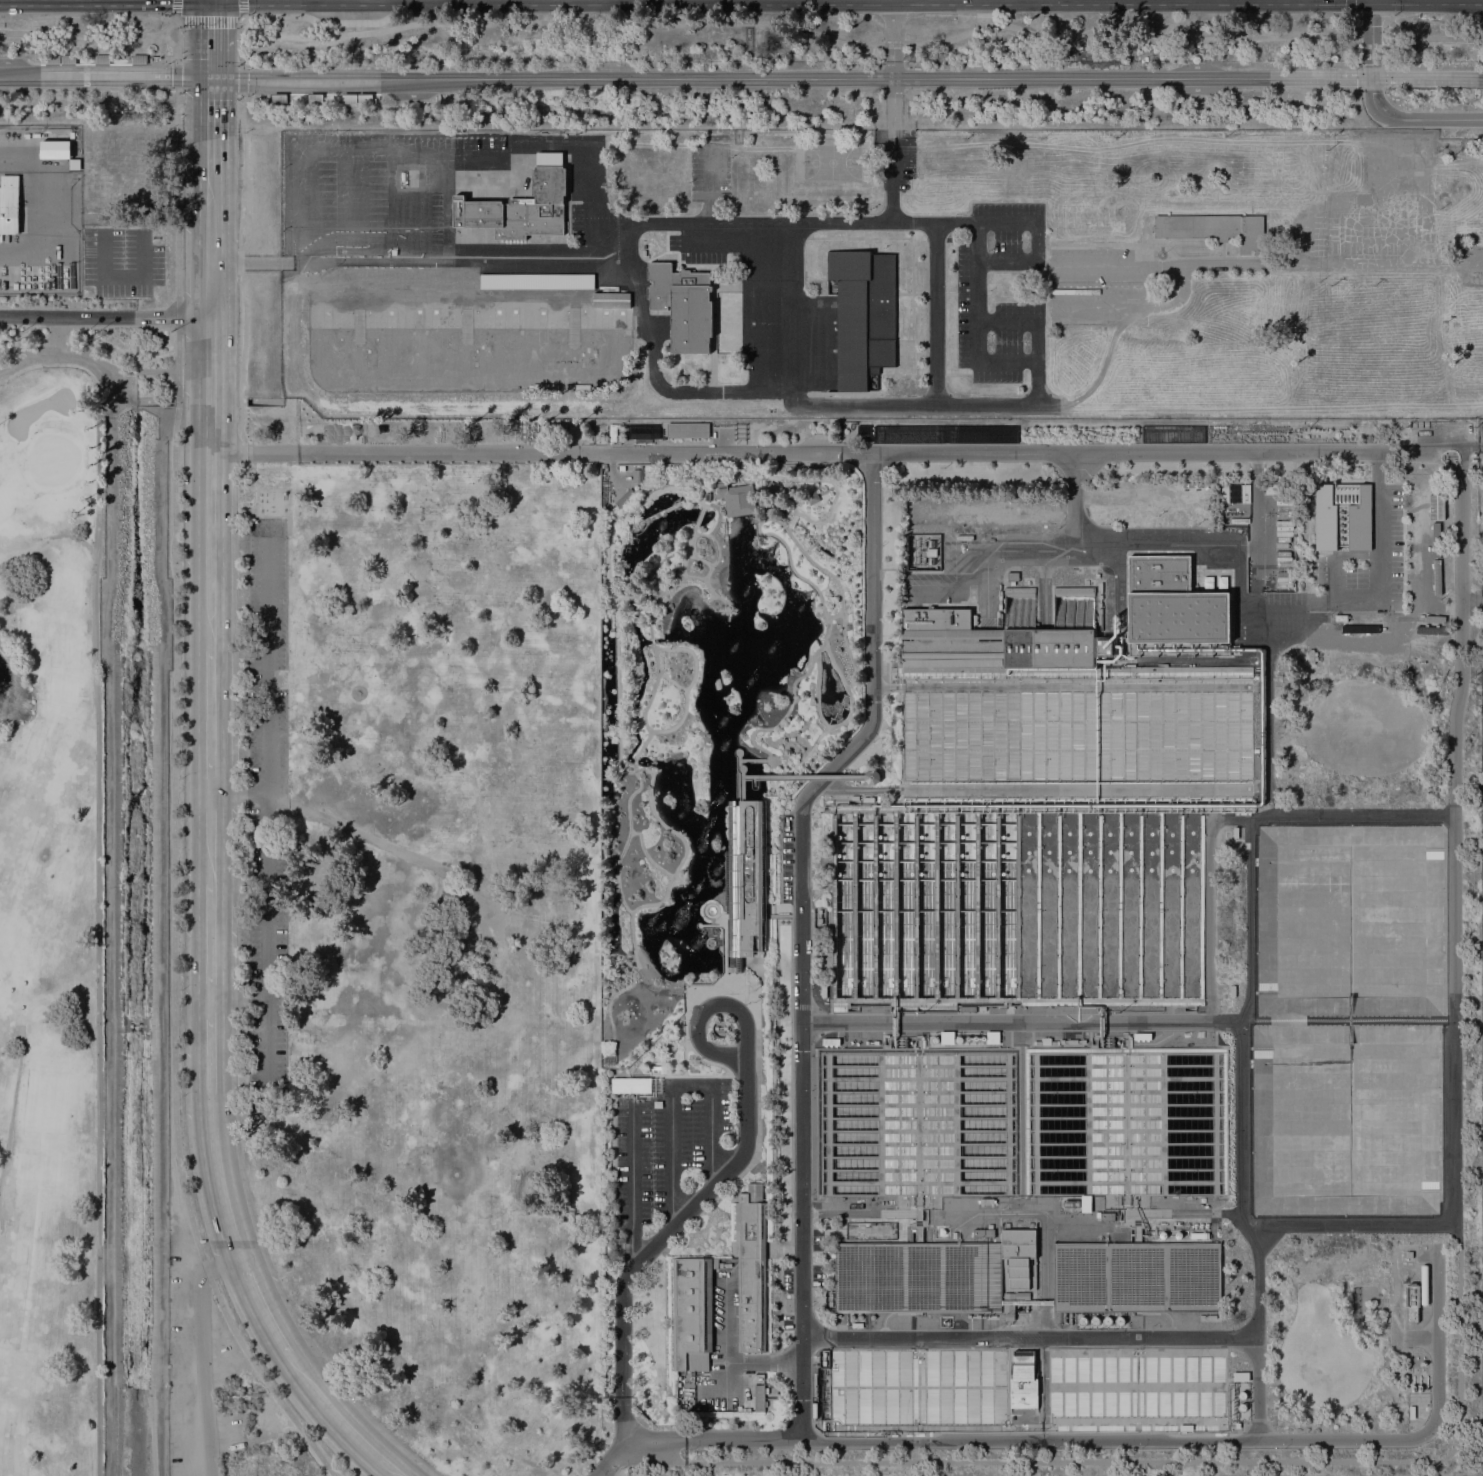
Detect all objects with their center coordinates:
road: (178, 8)
road: (241, 8)
road: (1350, 11)
road: (287, 14)
road: (210, 16)
road: (1366, 20)
road: (800, 29)
road: (892, 29)
road: (1430, 37)
road: (209, 38)
road: (92, 42)
road: (172, 43)
building: (52, 58)
building: (68, 58)
building: (101, 58)
building: (138, 58)
road: (111, 59)
traffic signals: (1371, 62)
road: (176, 72)
traffic signals: (209, 77)
road: (239, 81)
traffic signals: (1372, 92)
road: (307, 94)
building: (278, 97)
building: (315, 97)
building: (348, 97)
building: (364, 97)
road: (893, 99)
road: (1377, 107)
road: (209, 123)
park: (832, 161)
building: (75, 163)
building: (403, 176)
road: (892, 181)
building: (522, 204)
building: (10, 205)
parking lot: (1377, 205)
road: (720, 223)
building: (1216, 228)
road: (244, 260)
building: (537, 280)
building: (830, 286)
building: (610, 299)
building: (684, 304)
building: (864, 314)
road: (104, 315)
building: (327, 316)
building: (390, 316)
building: (418, 316)
building: (435, 316)
building: (499, 316)
building: (514, 316)
building: (621, 316)
building: (542, 317)
building: (606, 317)
building: (359, 324)
building: (466, 324)
building: (573, 326)
road: (56, 335)
road: (89, 356)
road: (25, 360)
road: (91, 366)
road: (120, 394)
road: (152, 400)
road: (266, 401)
road: (870, 403)
building: (608, 427)
building: (688, 429)
building: (643, 433)
road: (891, 449)
road: (253, 453)
building: (637, 475)
road: (299, 485)
road: (611, 485)
building: (1275, 487)
road: (825, 488)
building: (1225, 492)
building: (1245, 492)
road: (690, 494)
building: (707, 495)
building: (811, 496)
building: (625, 497)
building: (737, 498)
building: (1435, 506)
road: (794, 509)
road: (663, 510)
road: (718, 514)
building: (1343, 515)
road: (698, 516)
road: (790, 520)
road: (624, 532)
building: (1434, 543)
road: (241, 545)
road: (804, 552)
road: (1334, 555)
road: (667, 556)
road: (699, 558)
road: (712, 562)
building: (650, 574)
road: (693, 574)
building: (1013, 575)
road: (670, 581)
road: (816, 588)
building: (1019, 589)
building: (1074, 589)
road: (1240, 592)
road: (629, 596)
road: (709, 596)
road: (643, 597)
road: (1472, 597)
road: (1481, 597)
road: (617, 598)
building: (1174, 610)
road: (834, 614)
road: (651, 640)
building: (993, 640)
road: (691, 653)
road: (792, 685)
road: (686, 706)
road: (839, 708)
road: (839, 725)
building: (1076, 737)
park: (741, 745)
road: (737, 756)
road: (802, 761)
road: (621, 767)
road: (742, 771)
road: (174, 773)
building: (871, 775)
road: (793, 776)
road: (637, 777)
building: (783, 778)
road: (737, 789)
road: (240, 794)
parking lot: (266, 804)
road: (1235, 819)
road: (371, 838)
road: (266, 839)
road: (214, 853)
road: (647, 854)
building: (745, 880)
building: (725, 882)
building: (923, 907)
road: (703, 908)
building: (1110, 908)
fountain: (711, 912)
road: (725, 916)
park: (51, 924)
road: (160, 924)
road: (711, 924)
road: (109, 938)
road: (97, 939)
fountain: (711, 943)
park: (430, 945)
road: (723, 950)
building: (737, 966)
road: (729, 986)
wastewater plant: (1122, 994)
road: (242, 997)
road: (610, 1000)
flagpole: (753, 1001)
road: (704, 1008)
road: (1411, 1019)
road: (801, 1020)
building: (947, 1037)
building: (993, 1037)
building: (935, 1039)
building: (959, 1039)
building: (636, 1084)
road: (674, 1088)
building: (658, 1103)
road: (11, 1117)
building: (1119, 1120)
building: (916, 1121)
road: (1241, 1132)
parking lot: (666, 1152)
road: (632, 1186)
building: (754, 1191)
building: (1072, 1202)
building: (1086, 1203)
road: (857, 1212)
building: (1108, 1216)
road: (1449, 1217)
building: (943, 1231)
building: (984, 1232)
road: (644, 1253)
building: (1410, 1254)
building: (1018, 1256)
building: (751, 1273)
road: (1043, 1274)
building: (918, 1276)
building: (1137, 1277)
building: (1425, 1283)
building: (1412, 1301)
building: (692, 1312)
building: (1083, 1320)
building: (1095, 1320)
building: (1108, 1320)
building: (1120, 1320)
building: (857, 1324)
road: (1029, 1335)
road: (1423, 1337)
road: (202, 1352)
road: (753, 1362)
parking lot: (210, 1375)
building: (1241, 1376)
building: (1023, 1380)
building: (917, 1385)
building: (1135, 1387)
building: (1242, 1395)
building: (759, 1397)
building: (1242, 1407)
building: (814, 1410)
building: (1412, 1412)
building: (1237, 1425)
road: (1204, 1439)
road: (318, 1453)

